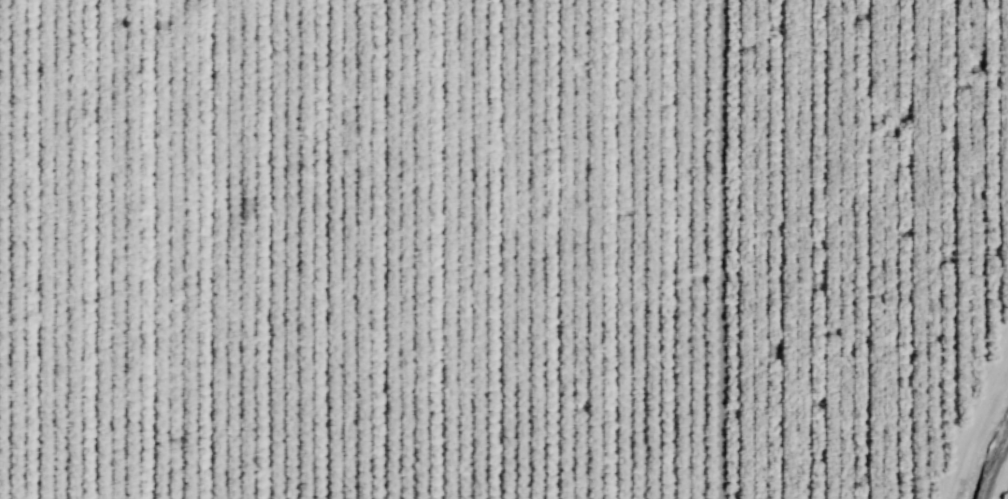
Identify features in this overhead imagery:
road: (718, 249)
road: (975, 419)
road: (999, 480)

